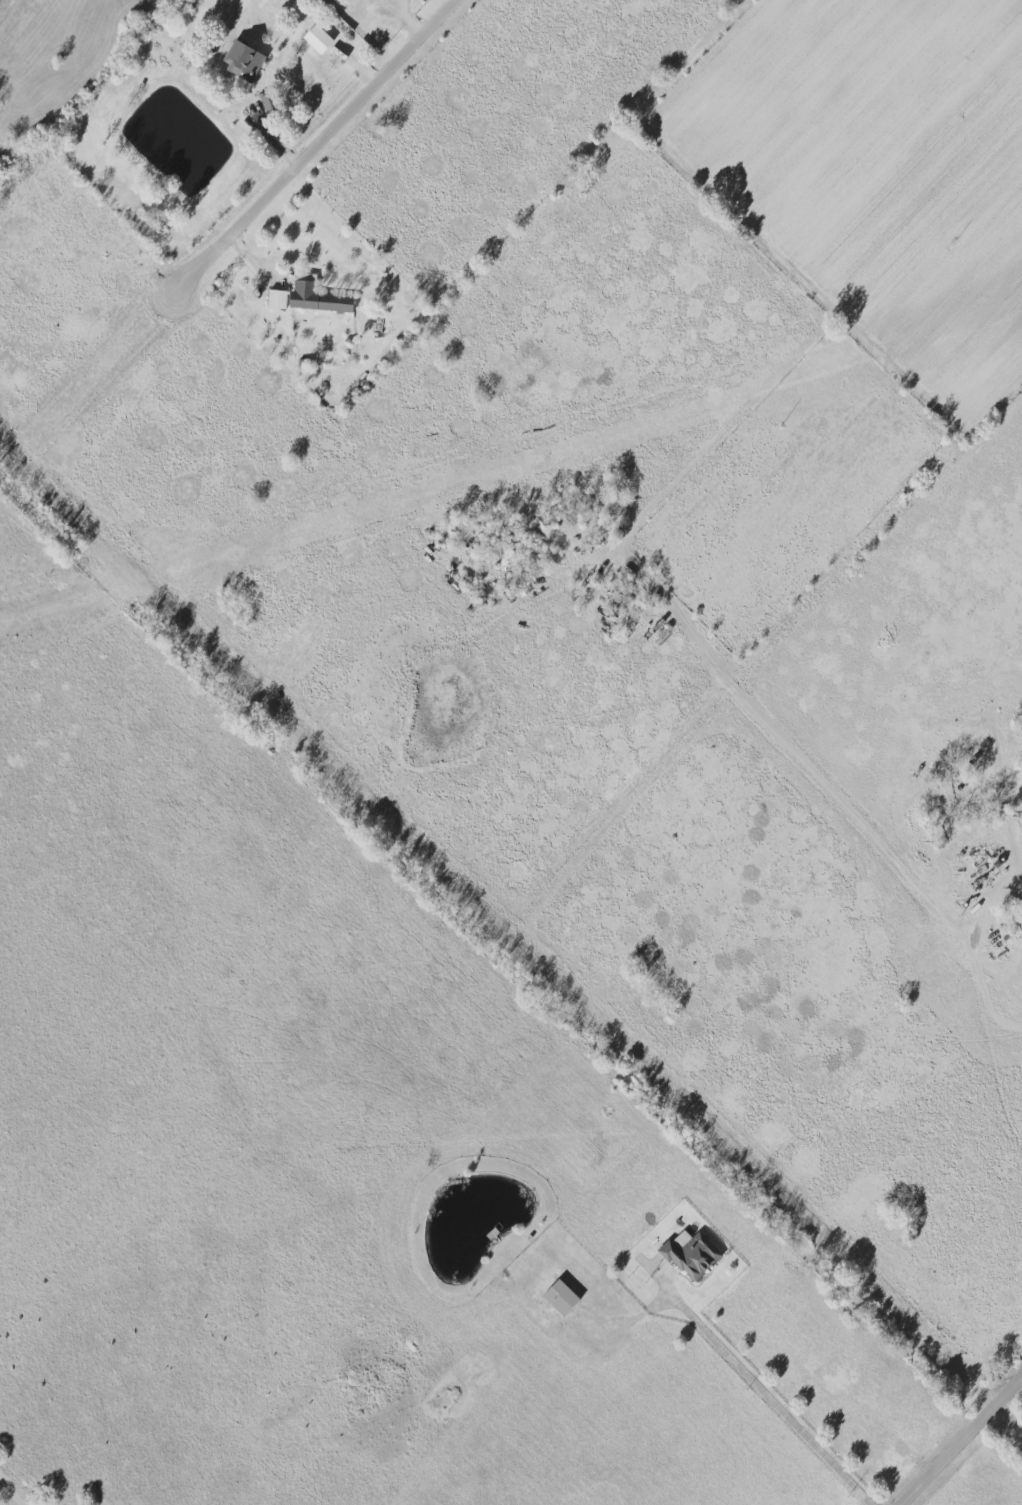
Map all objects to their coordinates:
building: (317, 39)
building: (242, 60)
building: (266, 101)
road: (317, 149)
road: (764, 258)
building: (317, 298)
building: (276, 299)
road: (991, 404)
road: (817, 775)
building: (690, 1253)
building: (560, 1296)
road: (758, 1387)
road: (962, 1441)

